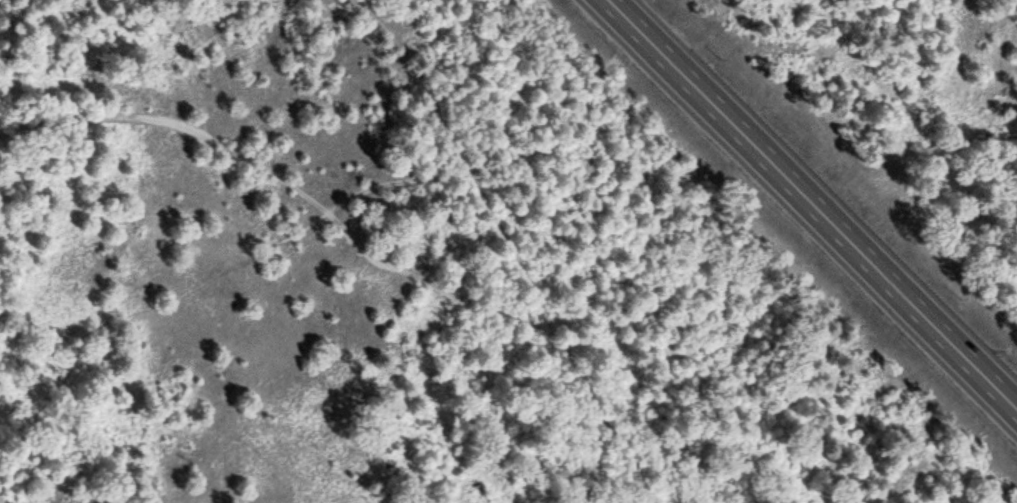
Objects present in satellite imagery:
road: (463, 161)
road: (814, 203)
road: (366, 249)

